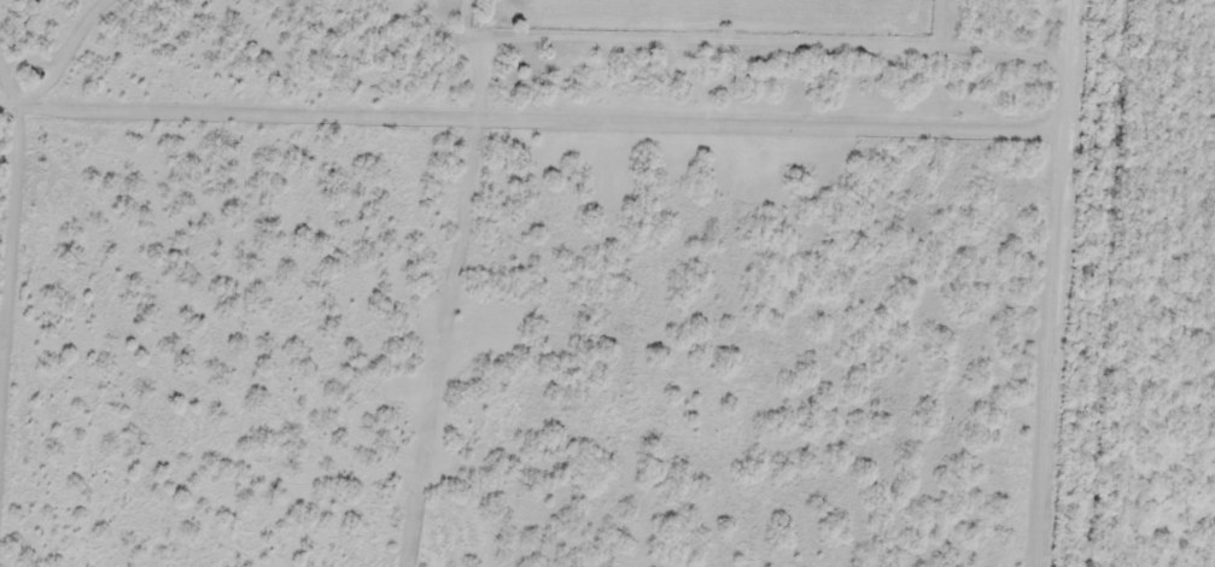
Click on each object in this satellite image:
road: (1209, 489)

